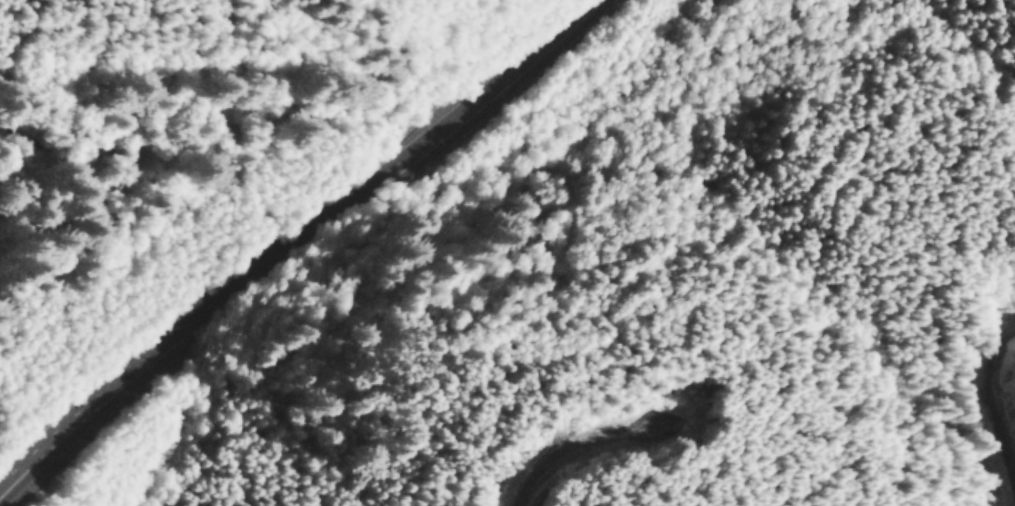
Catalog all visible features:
road: (301, 247)
road: (960, 397)

